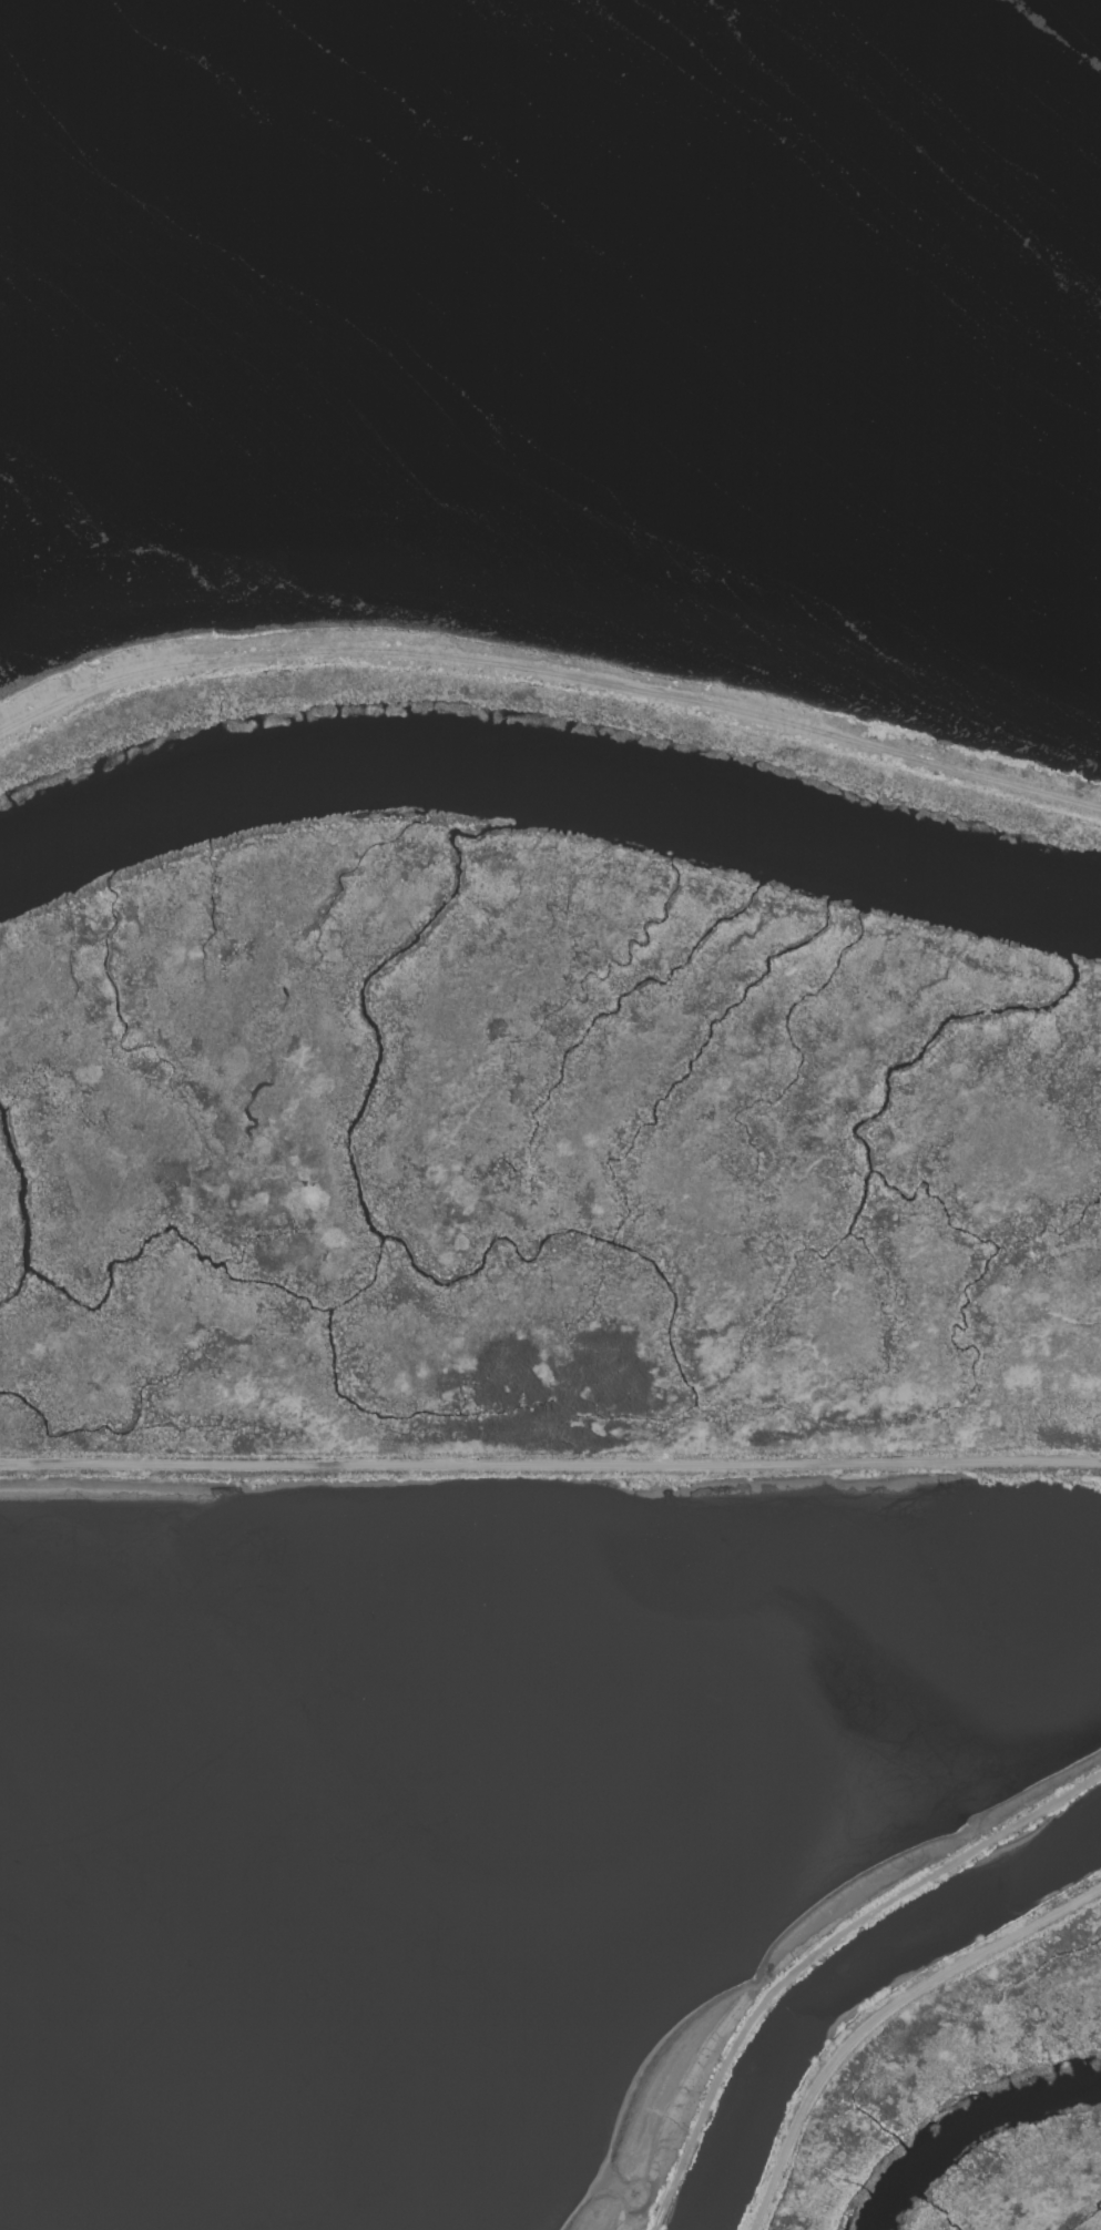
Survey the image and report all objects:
road: (550, 674)
river: (548, 790)
road: (550, 1466)
road: (820, 1949)
road: (884, 2017)

